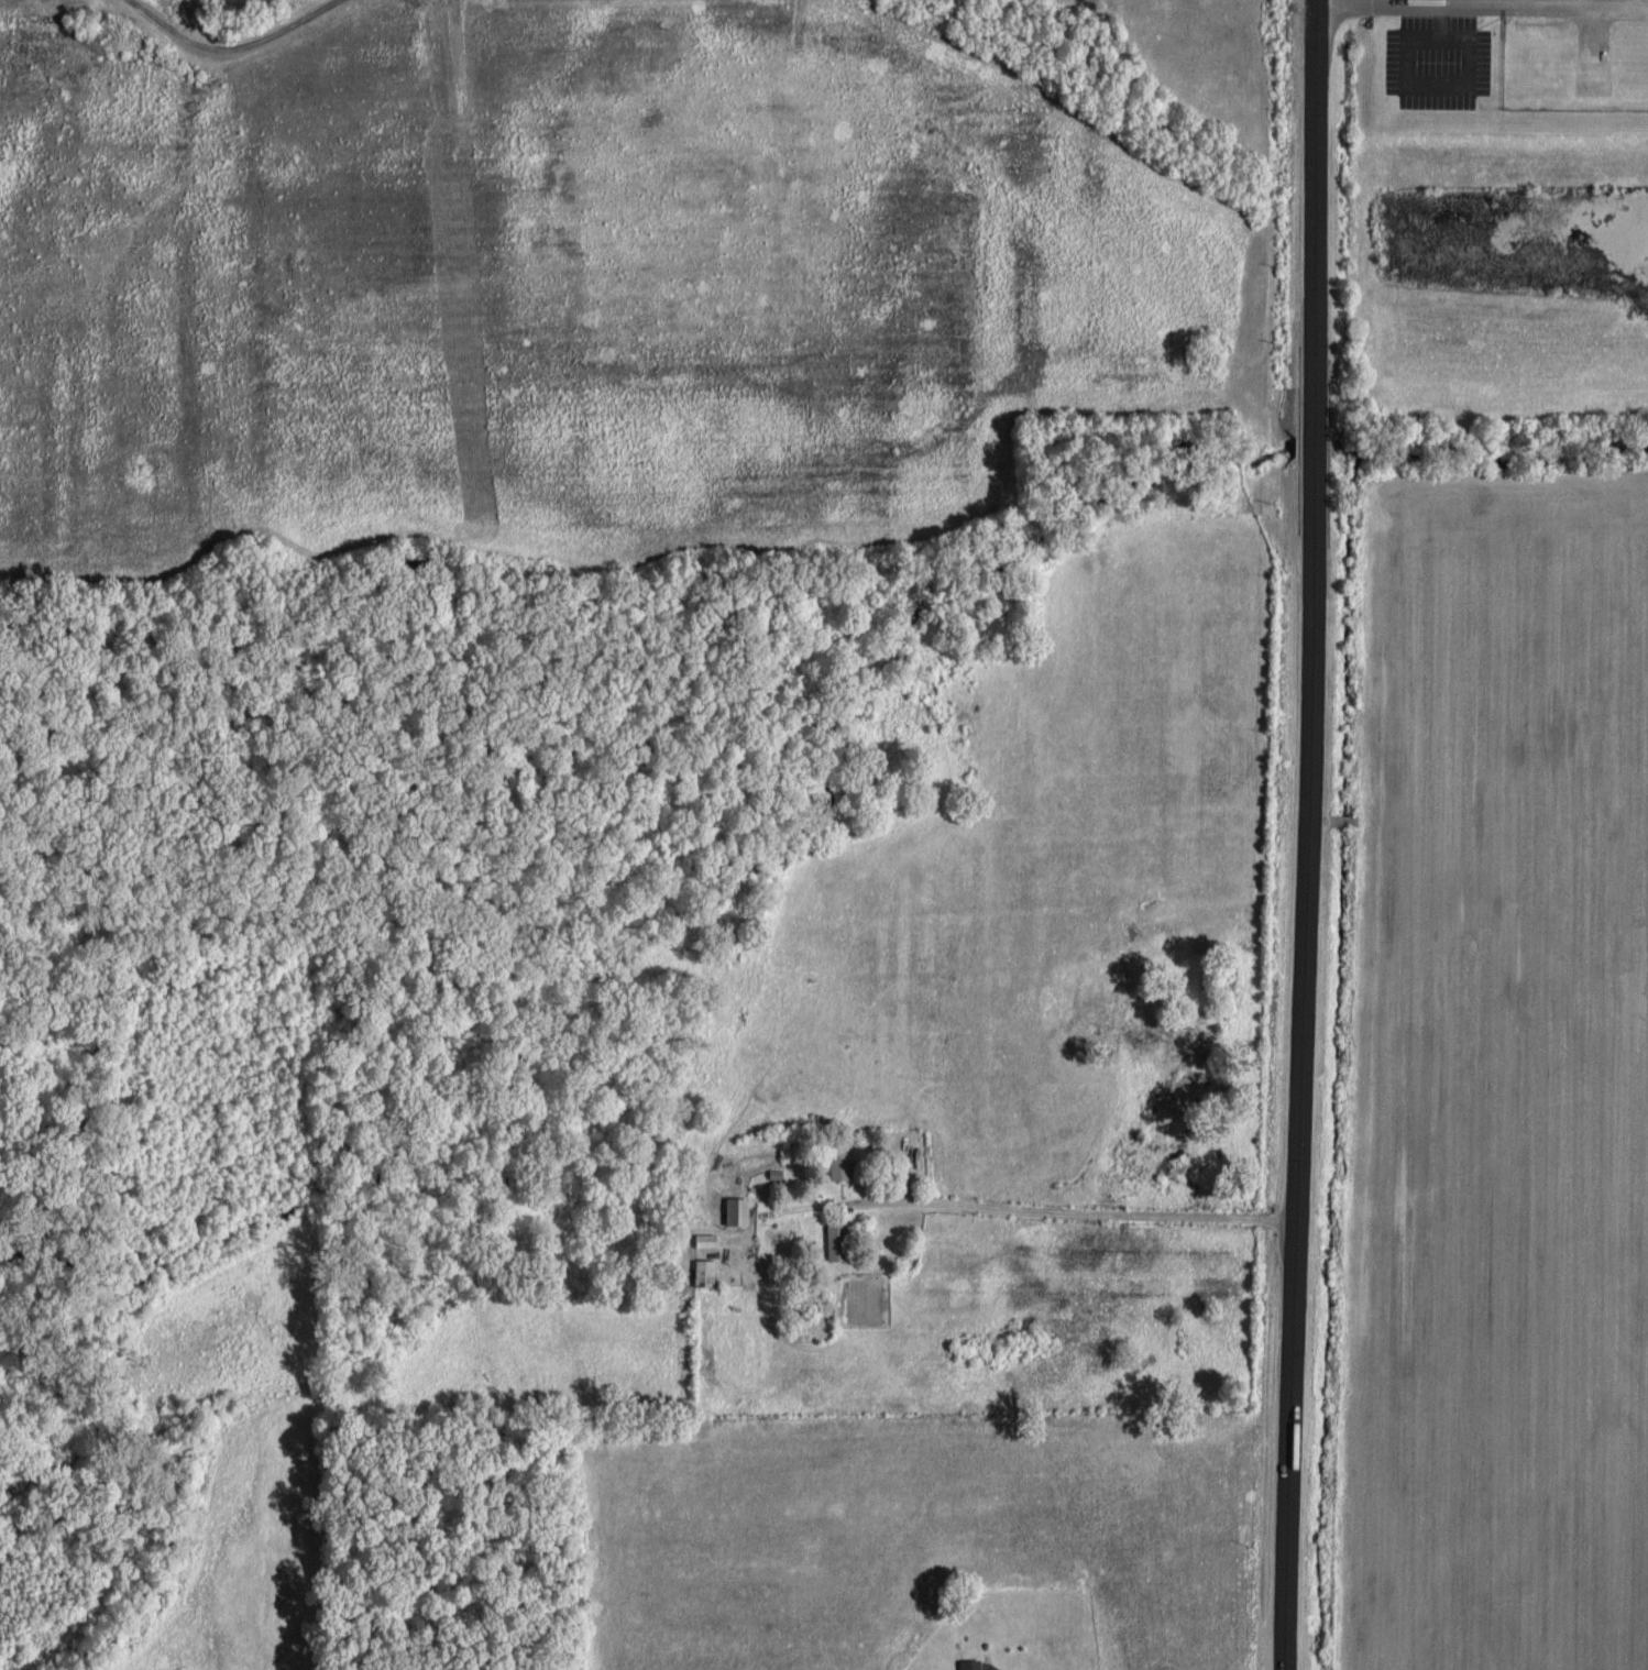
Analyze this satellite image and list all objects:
road: (1375, 9)
road: (1304, 835)
building: (842, 1163)
building: (738, 1209)
road: (1099, 1212)
building: (837, 1239)
building: (705, 1271)
building: (971, 1662)

